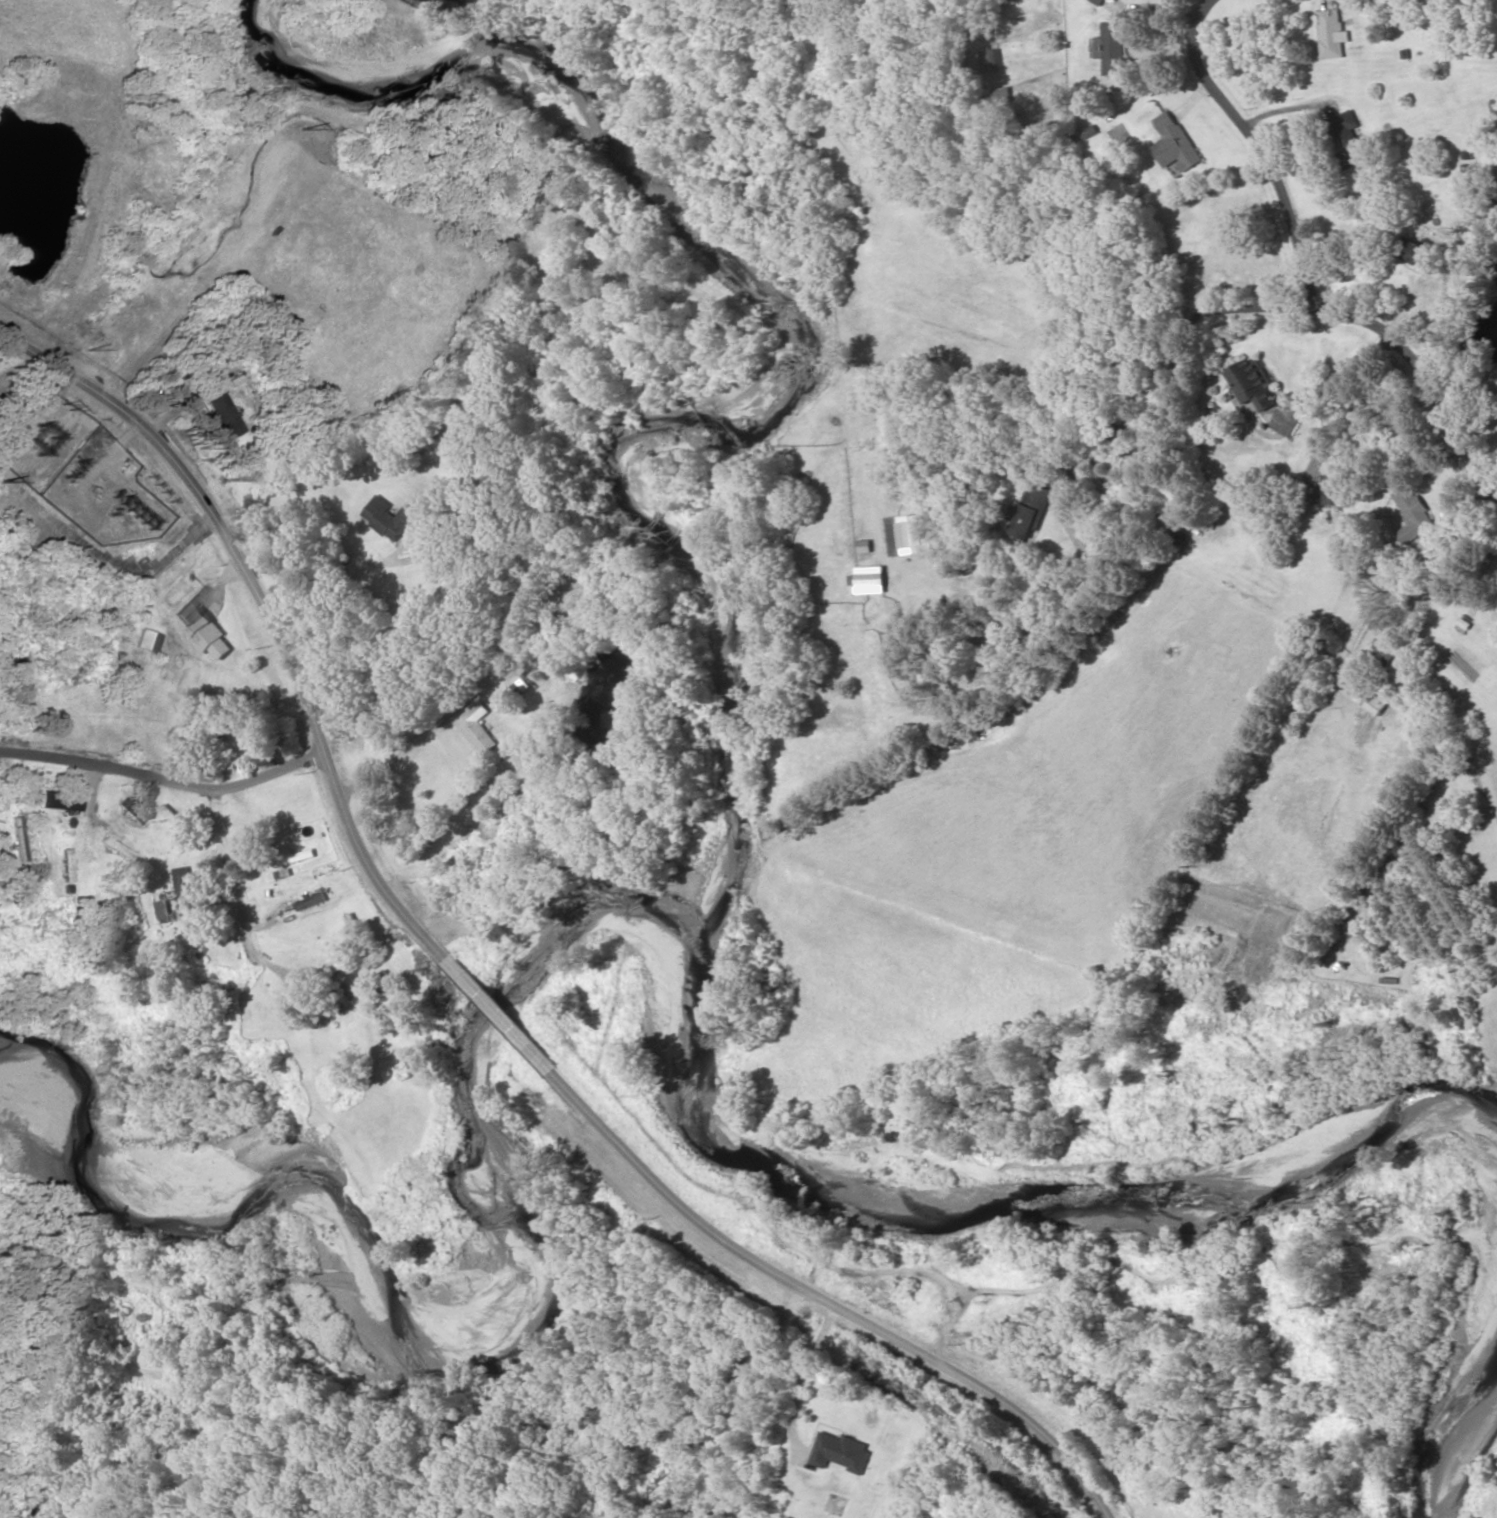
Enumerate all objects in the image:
building: (1334, 34)
building: (1113, 47)
building: (994, 60)
building: (1005, 94)
building: (1348, 138)
building: (1177, 143)
building: (1420, 254)
road: (1312, 267)
road: (1194, 358)
building: (1254, 383)
building: (482, 397)
power tower: (40, 434)
building: (1335, 489)
building: (1032, 511)
building: (1412, 513)
building: (391, 518)
building: (905, 535)
building: (871, 580)
road: (284, 605)
building: (1462, 619)
building: (203, 629)
building: (146, 641)
building: (1385, 648)
building: (514, 692)
building: (1369, 699)
building: (477, 728)
building: (246, 731)
road: (161, 783)
building: (75, 785)
building: (0, 800)
building: (59, 801)
building: (130, 812)
building: (177, 820)
building: (238, 823)
building: (15, 839)
building: (117, 850)
building: (295, 856)
building: (64, 865)
building: (186, 880)
building: (312, 902)
building: (127, 904)
building: (165, 909)
building: (356, 930)
building: (213, 952)
building: (388, 978)
road: (495, 1013)
road: (825, 1299)
building: (841, 1452)
building: (656, 1491)

